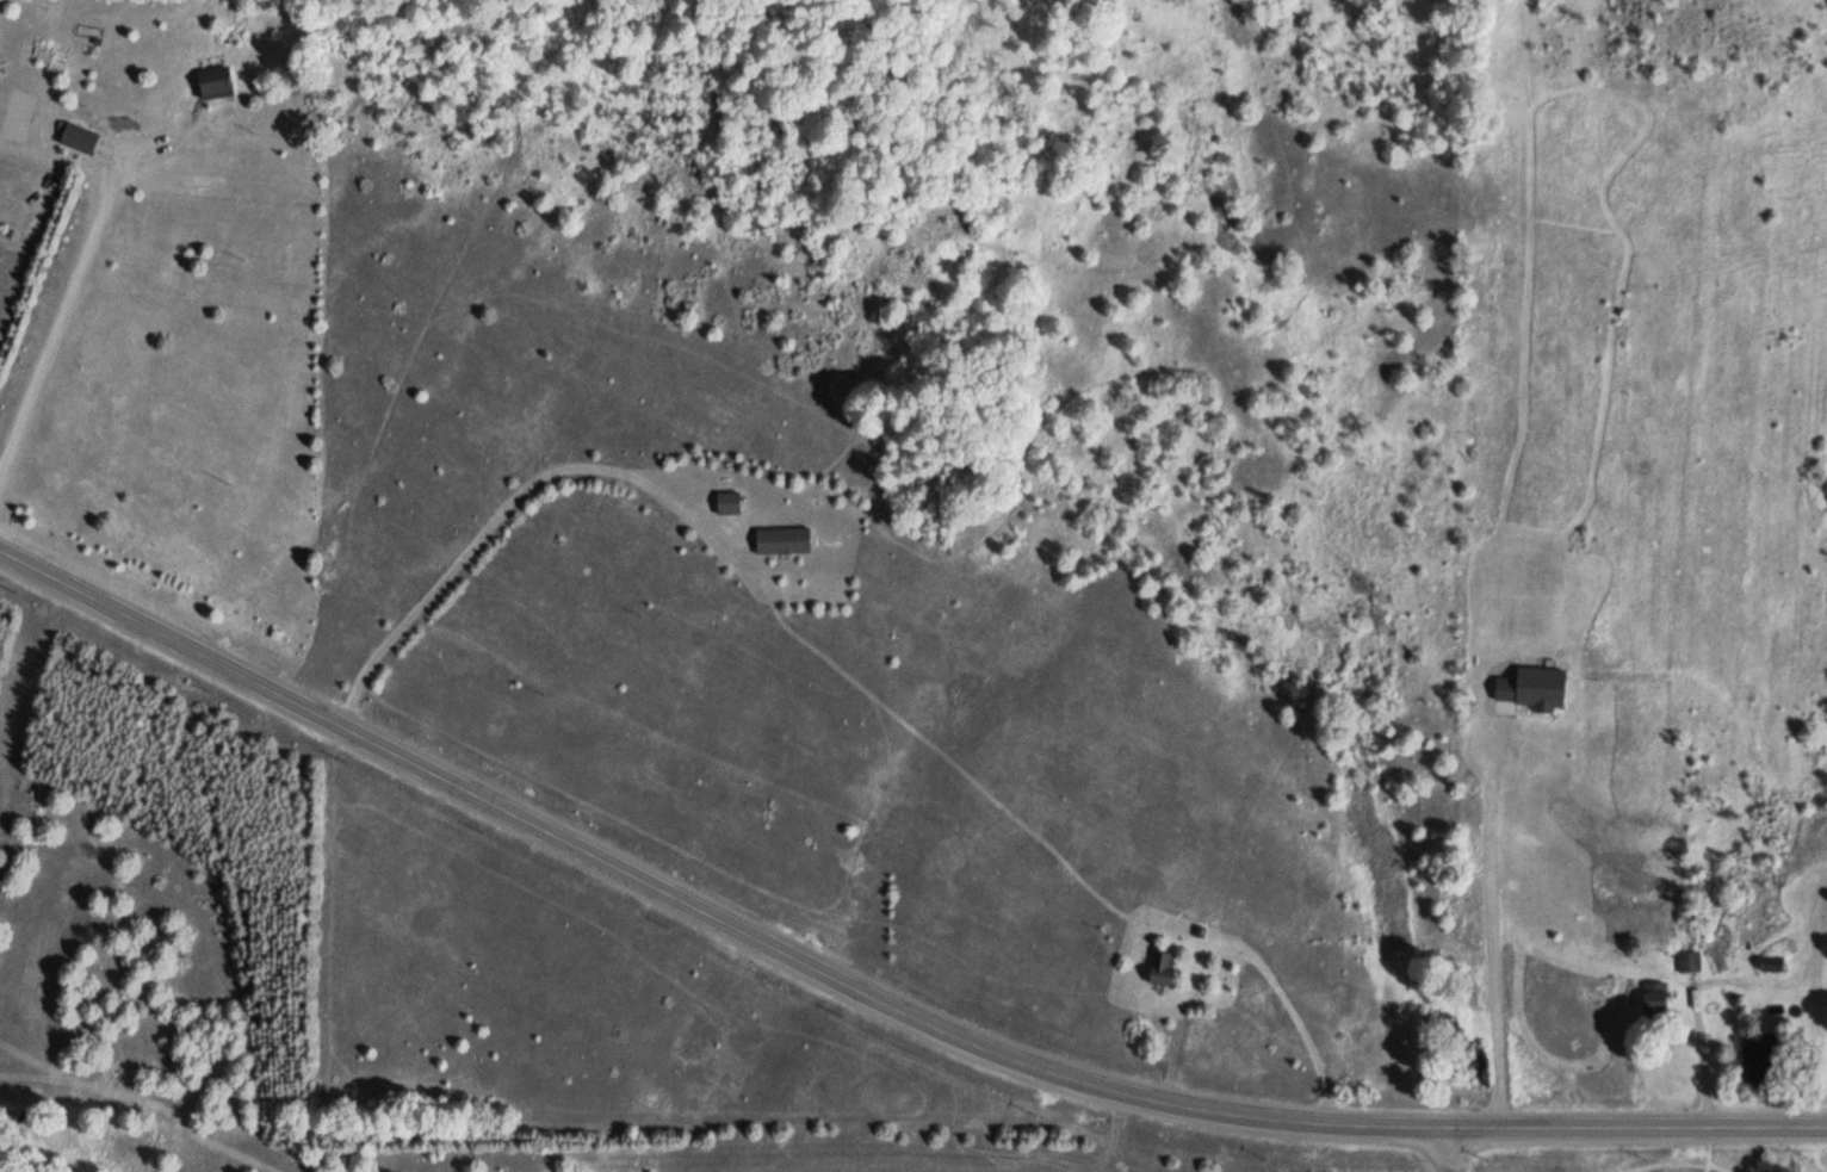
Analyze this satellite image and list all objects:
building: (209, 83)
building: (73, 137)
building: (724, 503)
building: (779, 540)
building: (1686, 961)
building: (1767, 963)
building: (1158, 968)
road: (871, 994)
building: (1651, 1000)
road: (1454, 1149)

